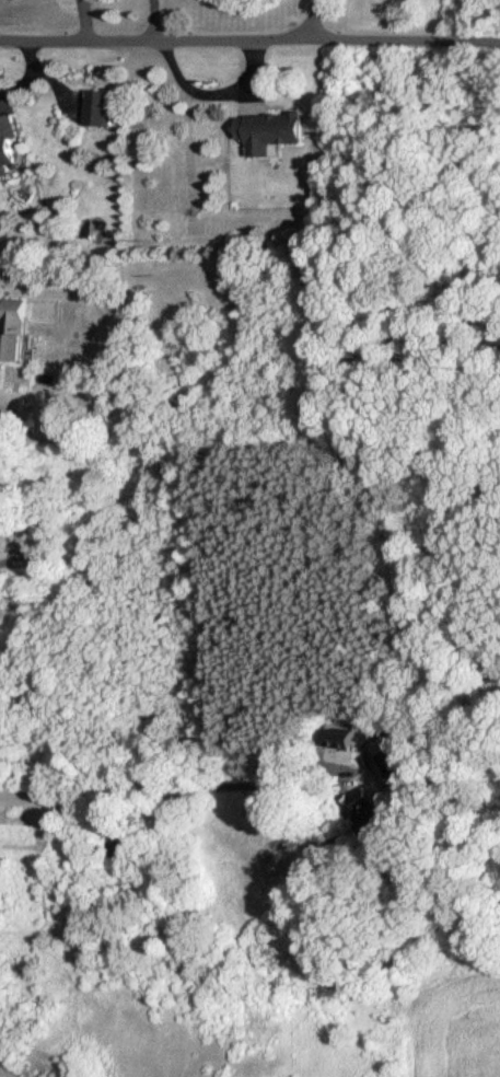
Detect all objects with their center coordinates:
road: (249, 40)
building: (102, 109)
building: (275, 132)
building: (11, 144)
building: (16, 331)
building: (98, 540)
building: (388, 763)
building: (371, 814)
building: (127, 842)

